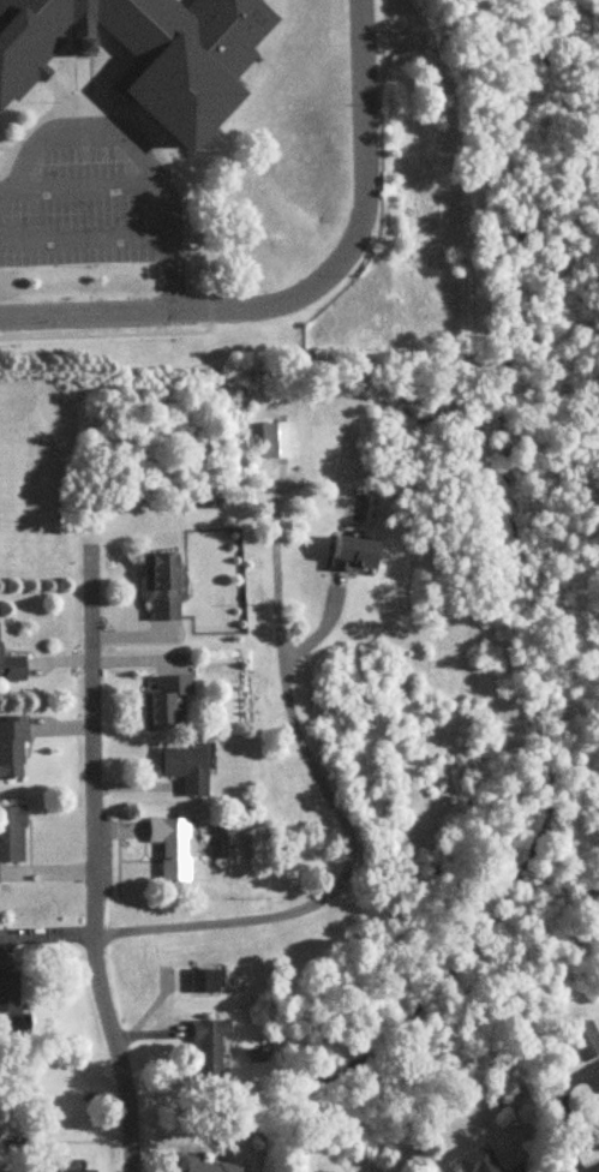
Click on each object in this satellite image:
building: (145, 52)
road: (79, 133)
road: (360, 179)
road: (142, 187)
road: (84, 240)
road: (127, 312)
building: (275, 442)
building: (161, 586)
building: (13, 670)
building: (166, 705)
building: (12, 747)
building: (185, 770)
road: (340, 815)
building: (11, 836)
building: (172, 848)
road: (91, 866)
building: (11, 1004)
building: (585, 1042)
building: (209, 1051)
building: (479, 1161)
building: (202, 1166)

